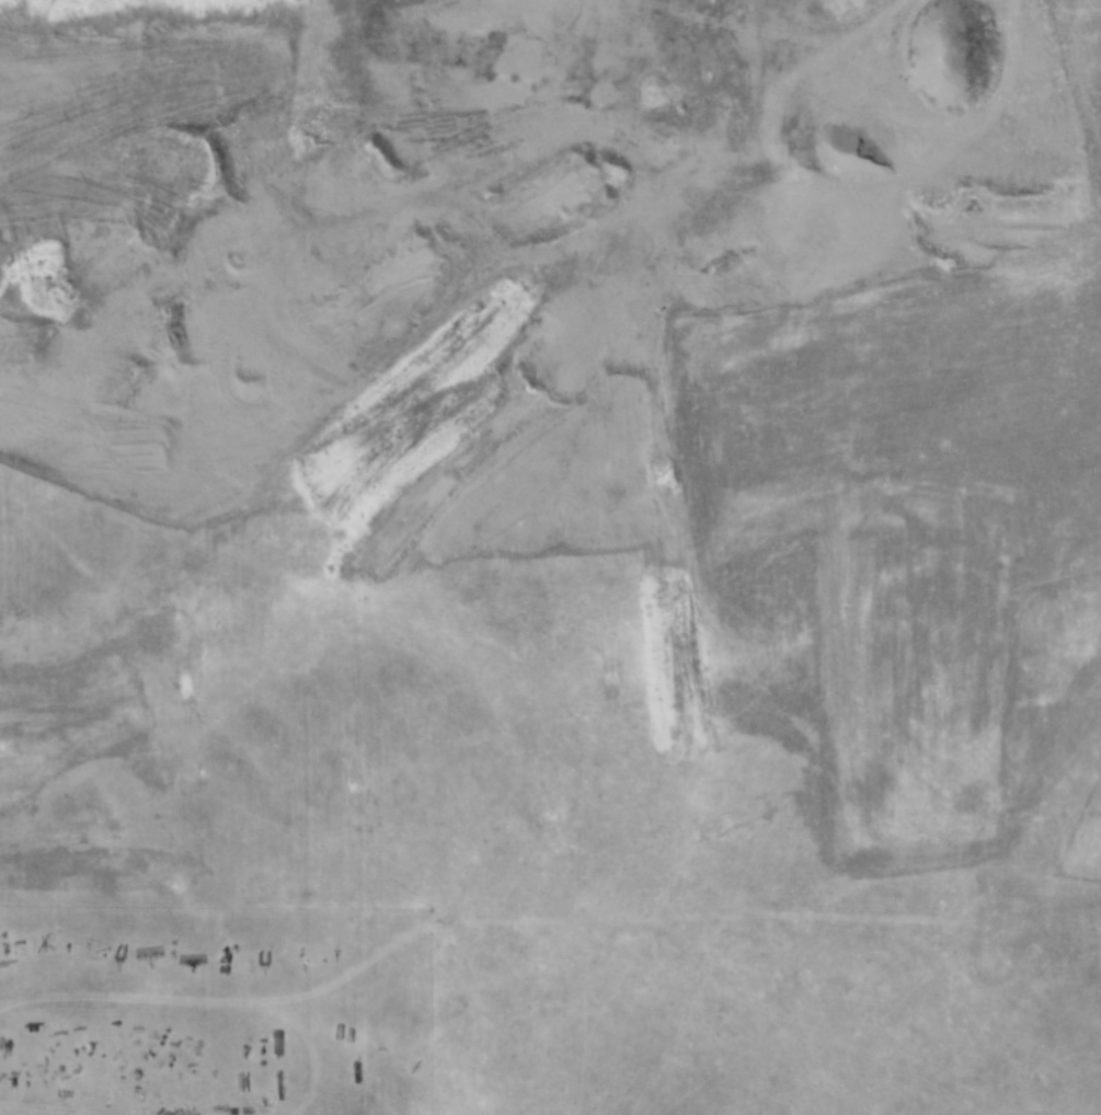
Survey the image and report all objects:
quarry: (1083, 39)
quarry: (929, 506)

